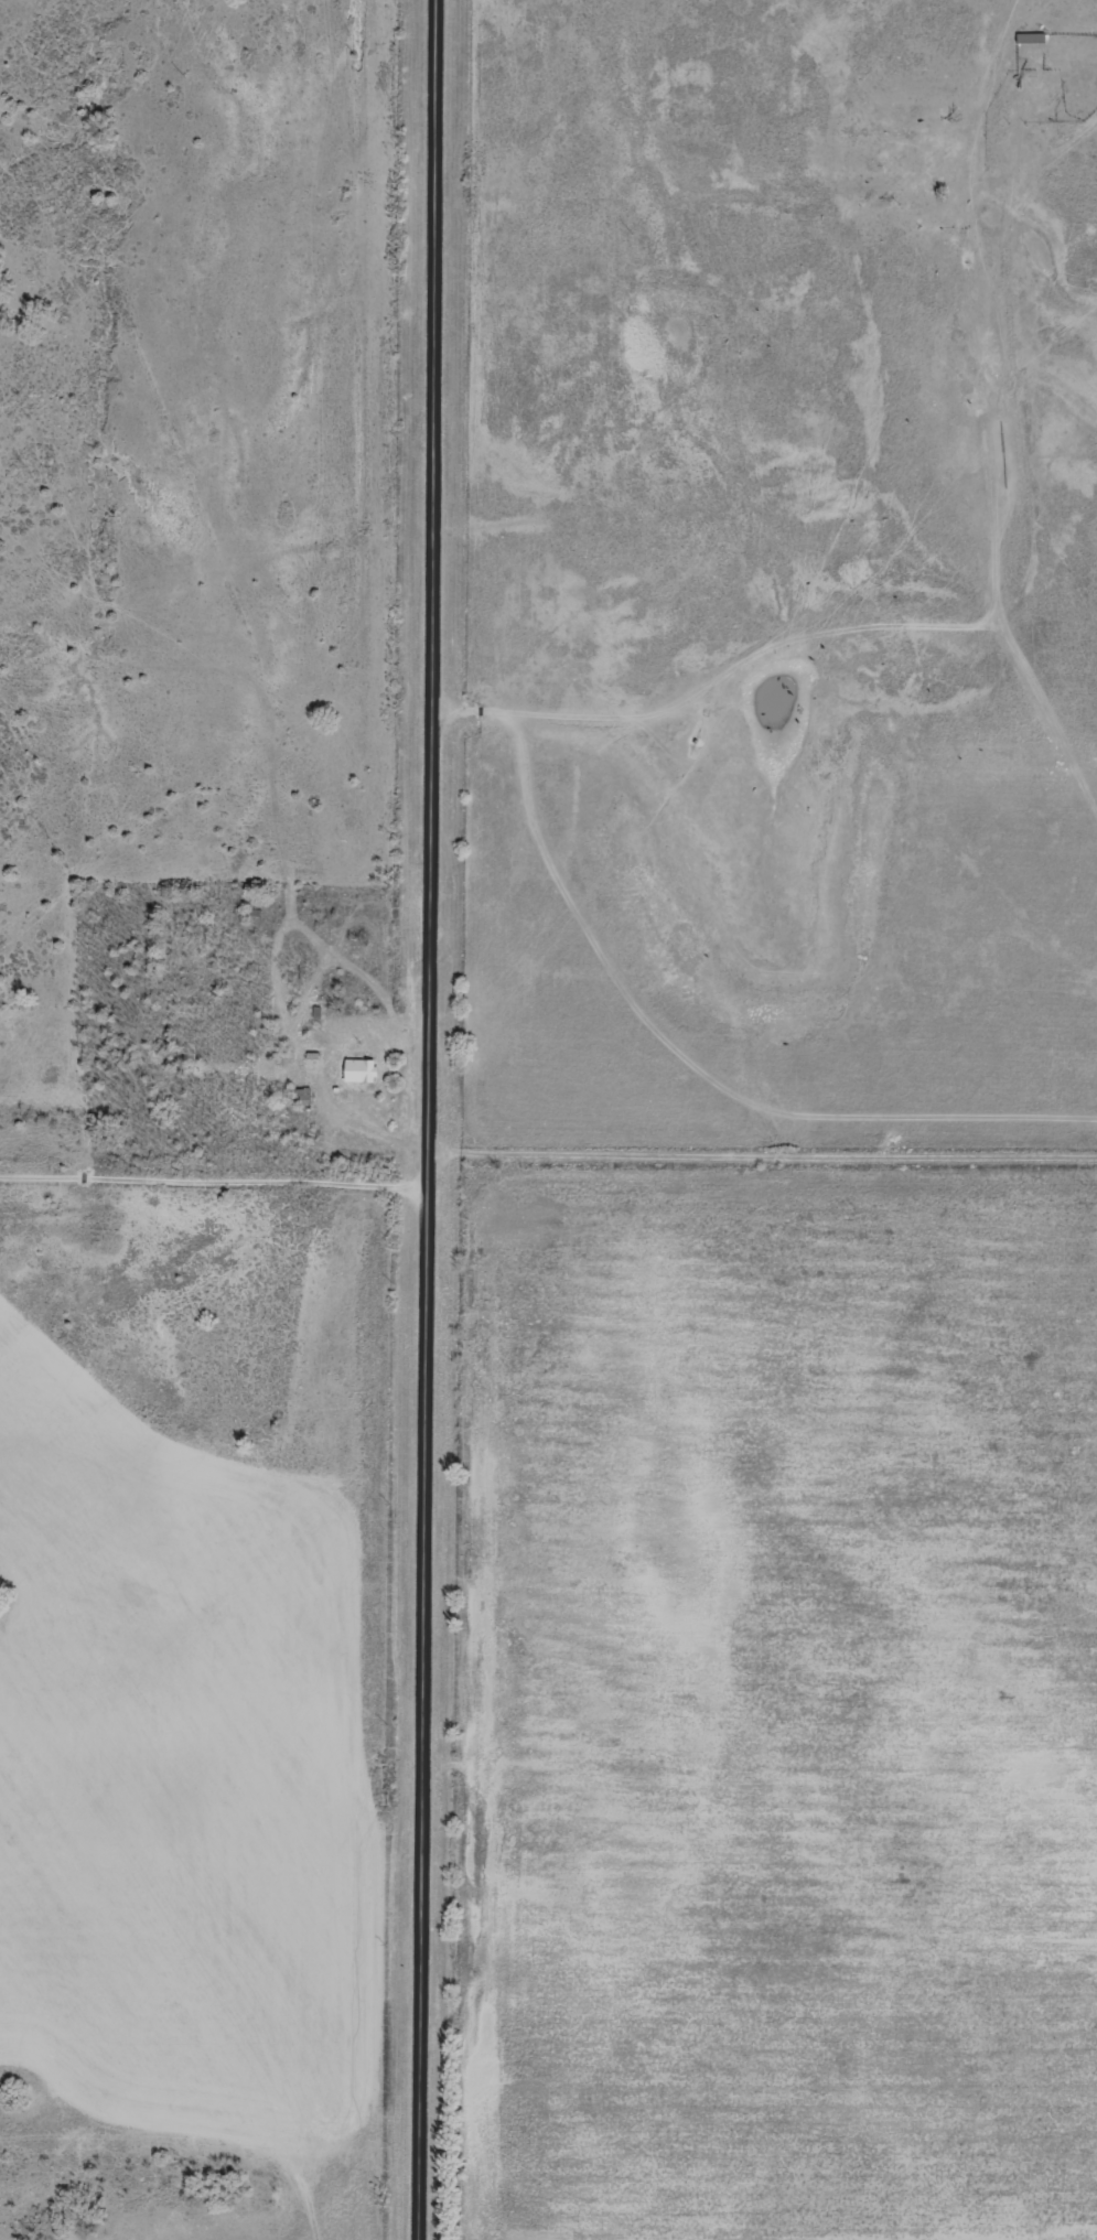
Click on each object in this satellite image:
building: (1030, 37)
building: (897, 160)
building: (357, 1070)
building: (301, 1098)
road: (427, 1120)

